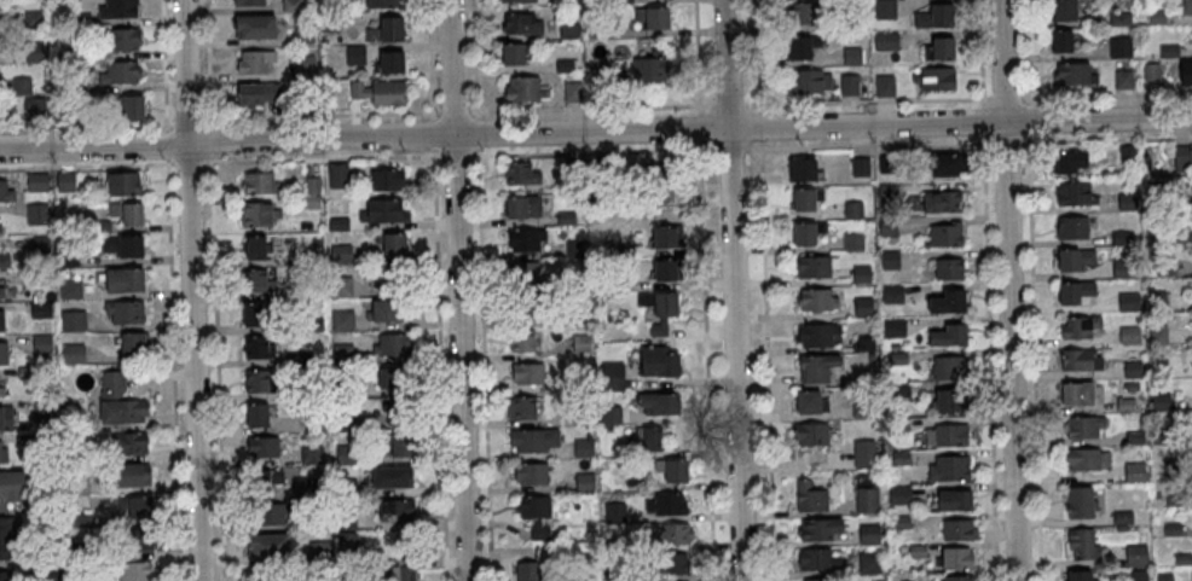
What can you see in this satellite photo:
building: (248, 1)
building: (382, 4)
building: (294, 6)
building: (1187, 6)
building: (885, 8)
building: (120, 10)
building: (1063, 10)
building: (806, 12)
building: (936, 16)
building: (652, 17)
building: (1119, 18)
building: (34, 19)
building: (331, 21)
building: (521, 24)
building: (255, 25)
building: (388, 29)
building: (302, 31)
building: (122, 40)
building: (886, 40)
building: (1060, 40)
building: (805, 45)
building: (941, 47)
building: (1121, 47)
road: (980, 51)
road: (1024, 51)
building: (35, 53)
building: (357, 54)
building: (515, 56)
road: (759, 56)
building: (852, 56)
road: (698, 57)
road: (430, 59)
road: (474, 59)
building: (258, 60)
building: (388, 60)
building: (303, 63)
road: (208, 64)
road: (164, 65)
building: (649, 68)
building: (1187, 68)
building: (122, 72)
building: (1151, 72)
building: (1074, 74)
building: (933, 77)
building: (1123, 79)
building: (810, 80)
building: (849, 83)
building: (884, 85)
building: (22, 87)
building: (81, 87)
building: (359, 89)
building: (525, 91)
building: (388, 92)
building: (254, 93)
road: (1106, 97)
road: (1005, 99)
road: (868, 103)
building: (133, 106)
road: (730, 106)
building: (35, 109)
road: (591, 109)
road: (455, 112)
road: (322, 115)
road: (1026, 120)
road: (983, 121)
road: (187, 122)
road: (762, 127)
road: (701, 128)
road: (85, 129)
road: (478, 132)
road: (595, 132)
road: (433, 133)
road: (1105, 138)
road: (1005, 141)
road: (212, 144)
road: (869, 145)
road: (168, 146)
road: (731, 149)
road: (592, 151)
road: (457, 155)
building: (1182, 158)
road: (220, 161)
building: (1072, 162)
building: (945, 163)
building: (889, 164)
building: (606, 165)
building: (862, 165)
building: (577, 168)
building: (804, 169)
building: (337, 174)
building: (520, 174)
building: (388, 179)
building: (37, 182)
building: (66, 182)
building: (259, 182)
building: (123, 185)
building: (6, 190)
building: (1075, 193)
building: (808, 198)
building: (941, 201)
building: (312, 202)
building: (521, 207)
building: (386, 209)
building: (854, 209)
building: (127, 214)
building: (259, 214)
building: (37, 215)
building: (340, 223)
building: (890, 226)
building: (99, 227)
building: (1074, 227)
building: (0, 232)
building: (805, 233)
building: (945, 233)
building: (666, 236)
building: (525, 240)
building: (393, 243)
building: (855, 243)
building: (42, 245)
building: (122, 246)
building: (256, 246)
building: (575, 249)
building: (625, 249)
building: (342, 254)
building: (69, 257)
building: (314, 258)
building: (4, 260)
building: (891, 261)
building: (1075, 261)
building: (815, 267)
building: (666, 268)
building: (948, 268)
building: (1121, 268)
building: (525, 272)
building: (863, 274)
building: (386, 278)
building: (41, 279)
building: (126, 280)
building: (259, 281)
building: (579, 283)
building: (602, 284)
building: (342, 286)
building: (5, 287)
building: (71, 290)
road: (193, 290)
road: (458, 290)
road: (734, 290)
road: (1007, 290)
building: (311, 291)
building: (1076, 294)
building: (893, 295)
building: (817, 300)
building: (1128, 301)
building: (660, 302)
building: (949, 303)
building: (864, 307)
building: (42, 310)
building: (387, 310)
building: (126, 313)
building: (256, 314)
building: (1, 319)
building: (343, 320)
building: (75, 321)
building: (314, 325)
building: (1077, 326)
building: (659, 329)
building: (896, 329)
building: (816, 335)
building: (950, 336)
building: (522, 341)
building: (44, 343)
building: (583, 343)
building: (867, 343)
building: (133, 344)
building: (389, 344)
building: (258, 347)
building: (4, 353)
building: (75, 354)
building: (343, 354)
building: (301, 358)
building: (898, 358)
road: (1032, 358)
road: (989, 359)
building: (658, 360)
road: (707, 361)
road: (768, 361)
building: (1077, 361)
road: (484, 362)
road: (439, 364)
building: (816, 368)
building: (951, 368)
road: (216, 370)
road: (174, 371)
building: (526, 372)
building: (614, 376)
building: (392, 377)
building: (258, 380)
building: (584, 380)
building: (0, 384)
building: (343, 387)
building: (901, 390)
building: (300, 393)
building: (1080, 394)
building: (953, 401)
building: (659, 403)
building: (810, 403)
building: (393, 407)
building: (523, 407)
building: (864, 407)
building: (45, 409)
building: (120, 412)
building: (256, 416)
building: (584, 416)
building: (612, 416)
building: (6, 417)
building: (317, 419)
building: (345, 422)
building: (899, 425)
building: (1083, 429)
building: (812, 435)
building: (951, 435)
building: (650, 438)
building: (532, 440)
building: (131, 445)
building: (401, 445)
building: (262, 448)
building: (584, 448)
building: (4, 451)
building: (625, 451)
building: (348, 454)
building: (864, 454)
building: (312, 455)
building: (902, 458)
building: (1084, 459)
building: (949, 467)
building: (672, 469)
building: (1134, 471)
building: (531, 473)
building: (133, 476)
building: (392, 477)
building: (268, 478)
building: (635, 478)
building: (585, 482)
building: (79, 484)
building: (11, 487)
building: (303, 488)
building: (347, 488)
building: (901, 495)
building: (809, 496)
building: (868, 500)
building: (1081, 501)
building: (665, 502)
building: (957, 502)
building: (134, 506)
building: (394, 511)
building: (617, 512)
building: (536, 513)
building: (270, 515)
building: (320, 518)
building: (81, 521)
building: (347, 521)
building: (901, 523)
building: (821, 529)
building: (959, 530)
building: (670, 533)
building: (870, 534)
building: (5, 538)
building: (137, 540)
building: (348, 541)
building: (1082, 542)
building: (267, 546)
building: (319, 550)
building: (83, 551)
building: (918, 551)
building: (1135, 553)
building: (817, 559)
building: (959, 559)
building: (675, 563)
building: (870, 563)
building: (404, 569)
building: (53, 570)
building: (134, 571)
building: (530, 571)
building: (617, 575)
building: (1082, 575)
building: (1138, 575)
building: (4, 576)
building: (959, 579)
building: (270, 580)
building: (815, 580)

